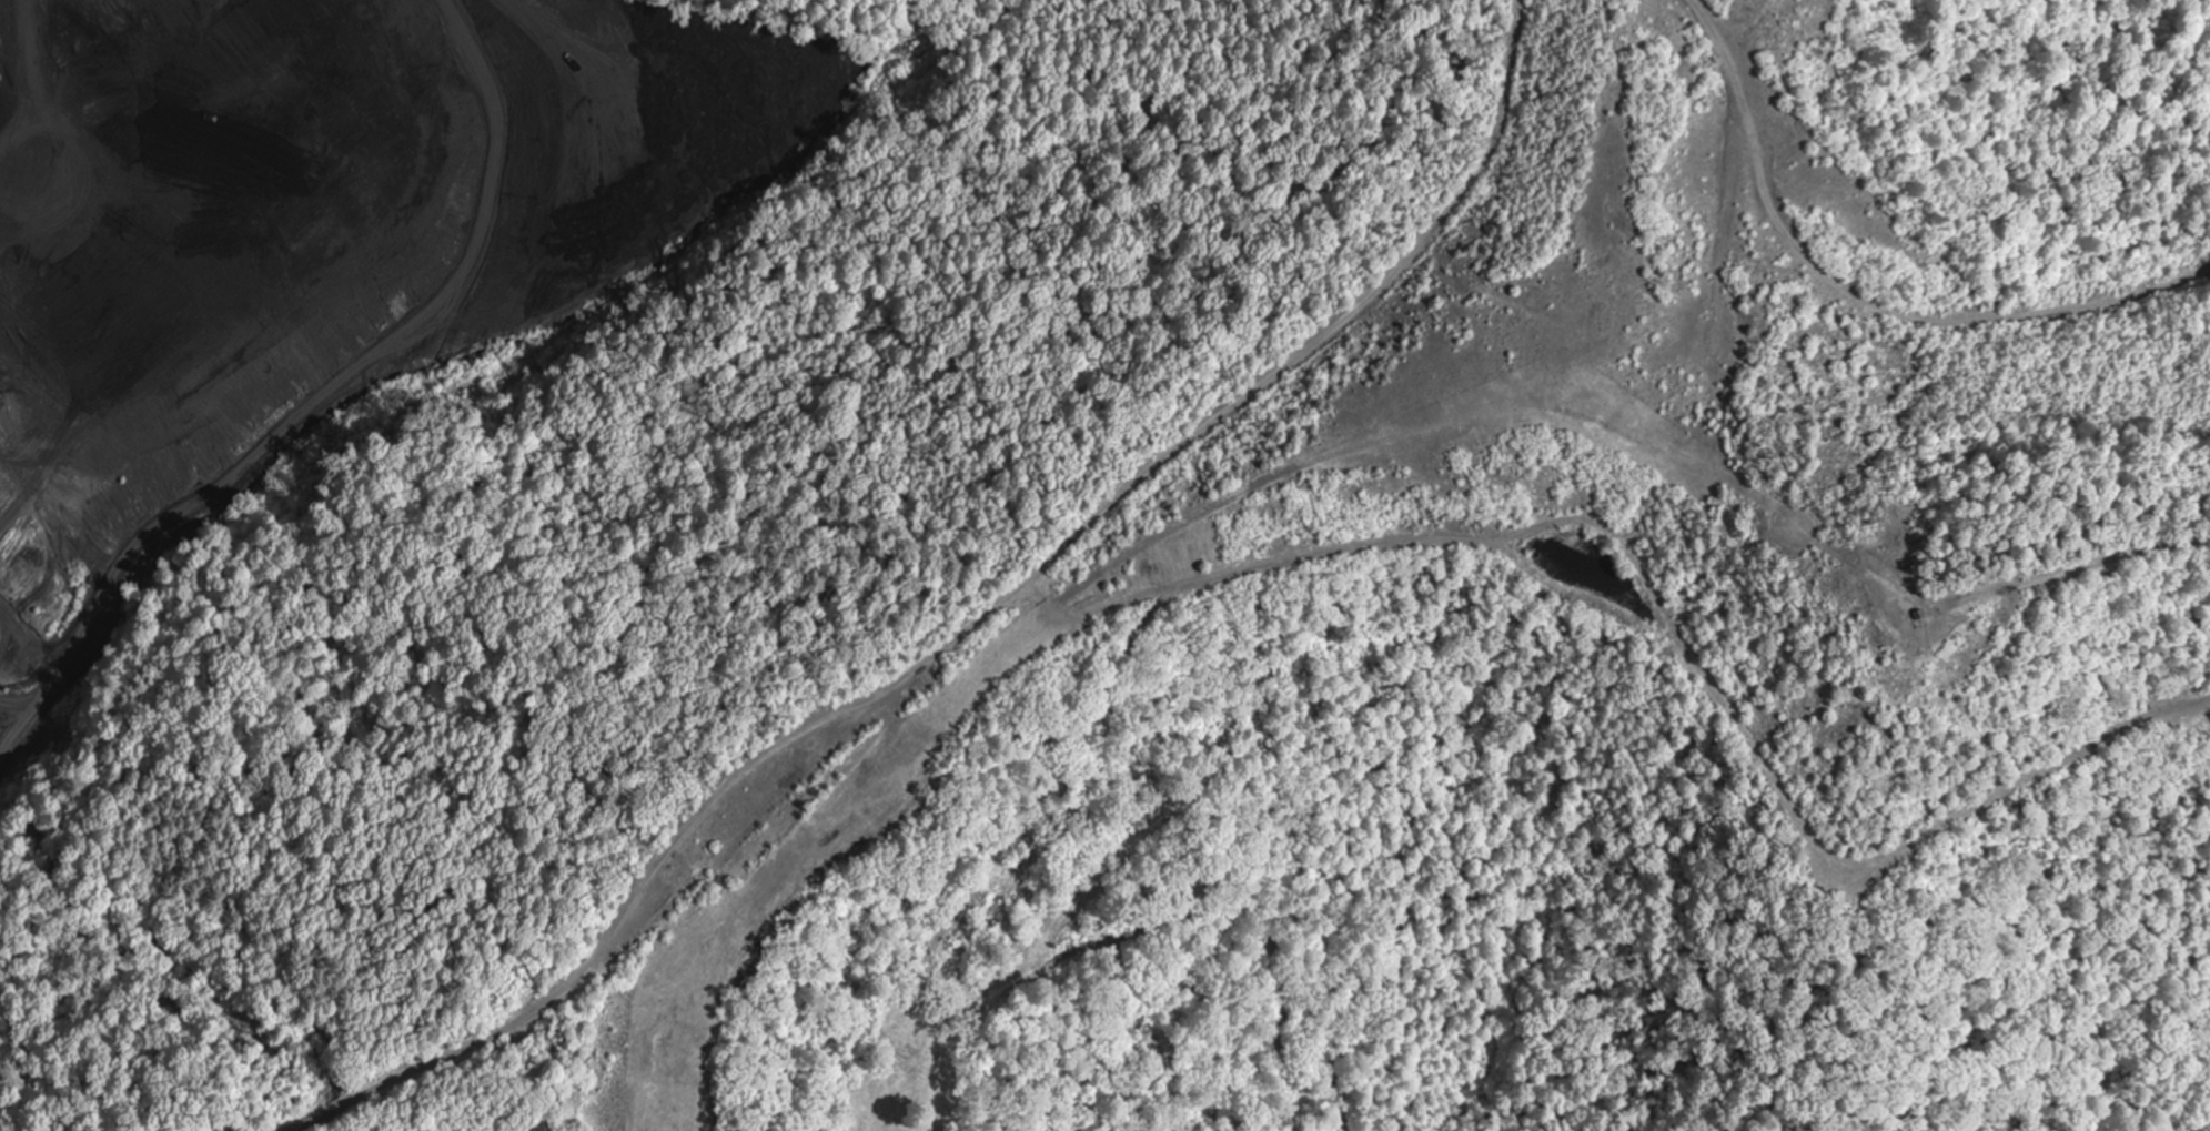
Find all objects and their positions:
road: (1727, 474)
road: (1353, 610)

